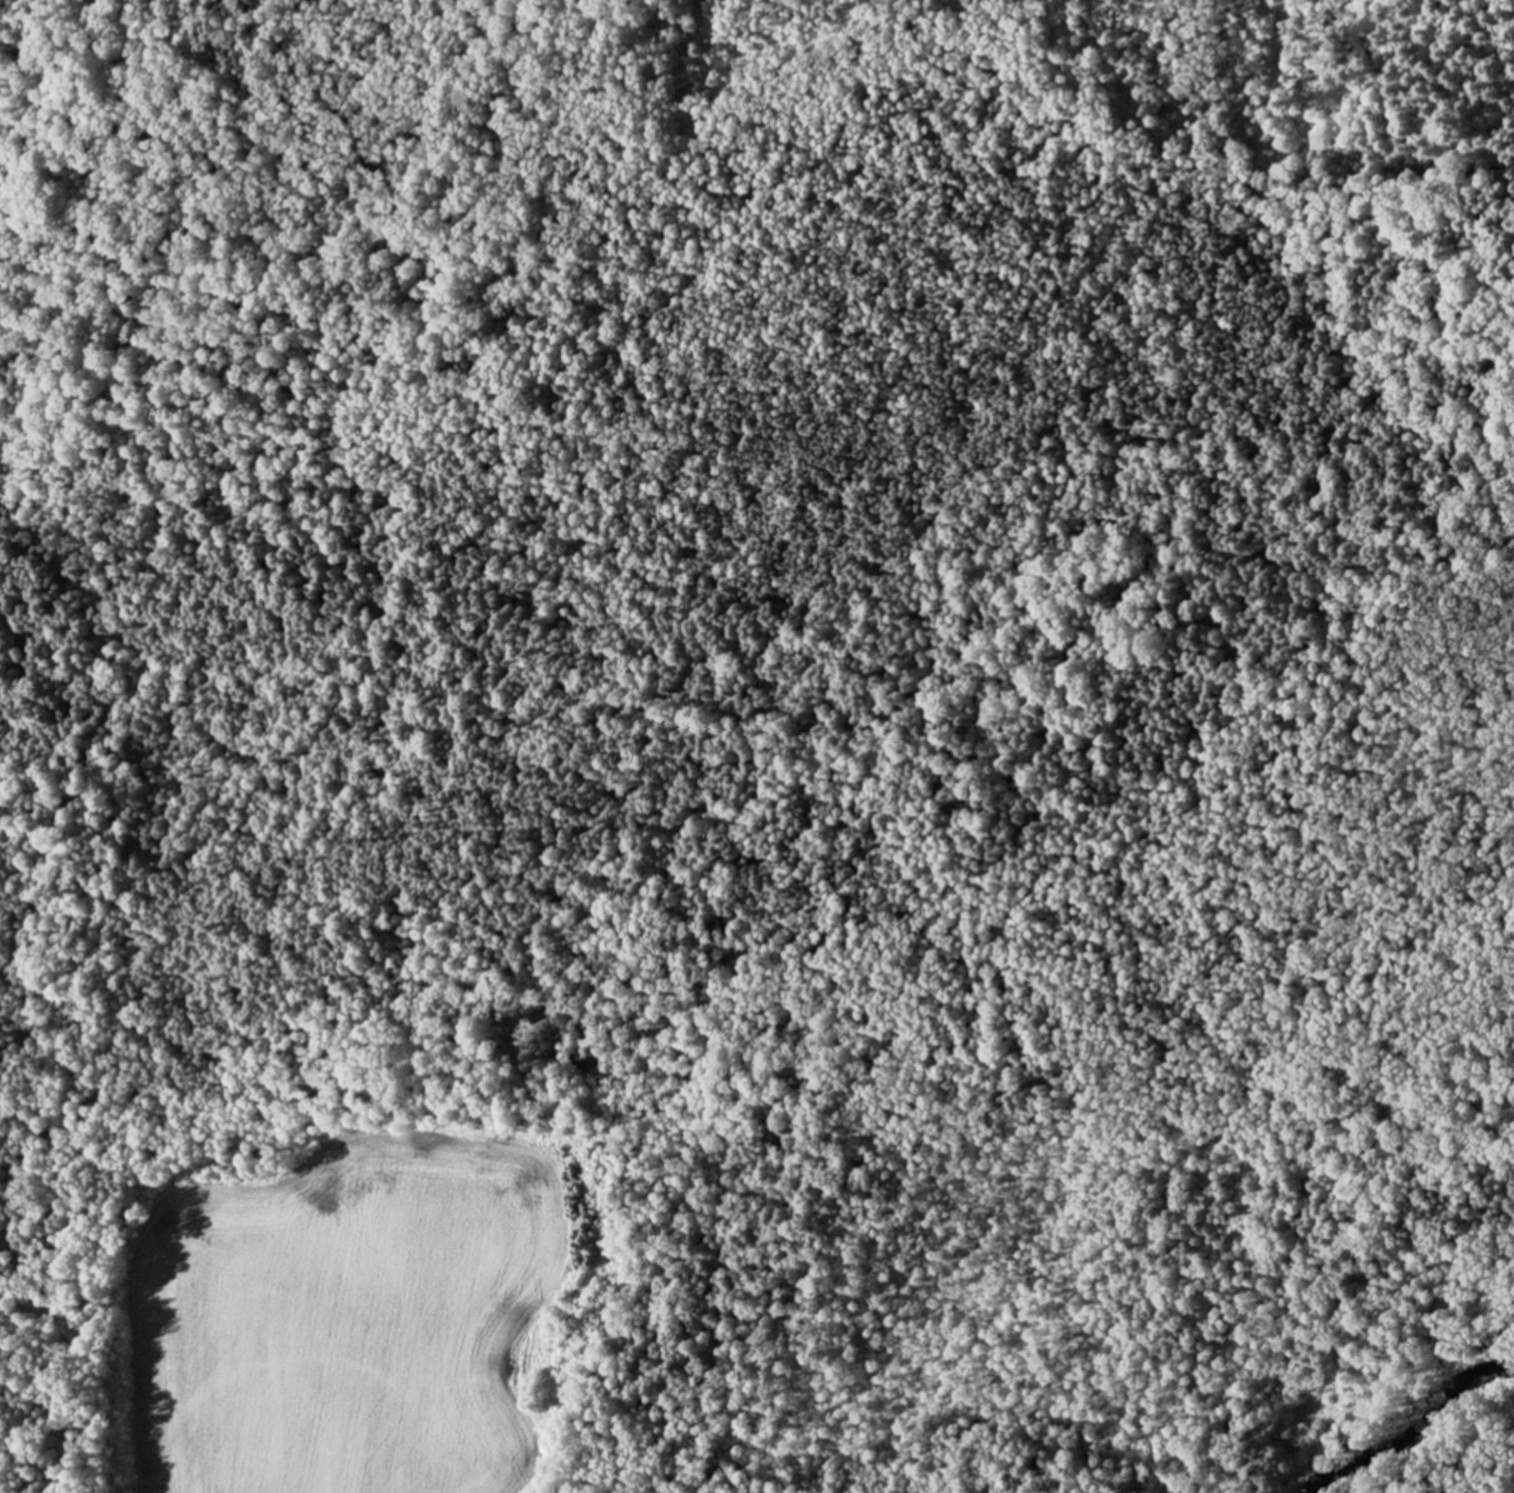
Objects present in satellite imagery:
river: (1405, 1427)

